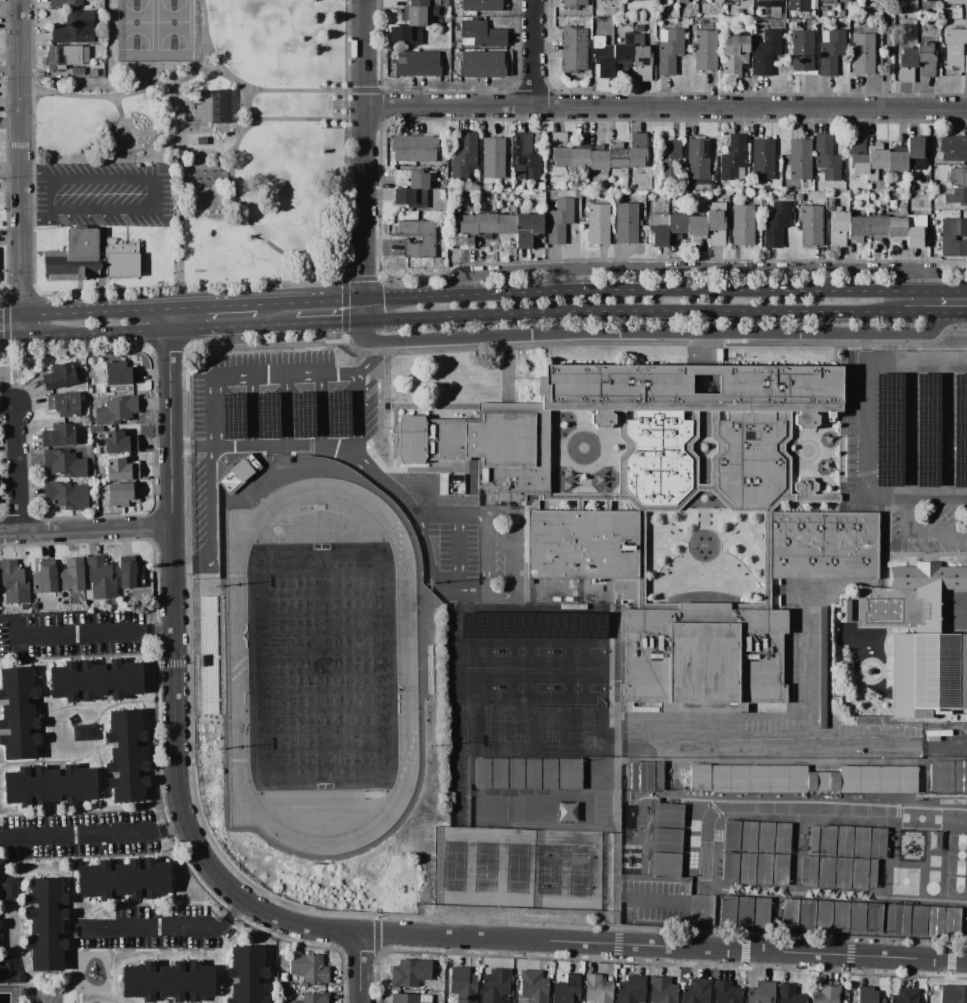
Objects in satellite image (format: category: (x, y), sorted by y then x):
building: (635, 0)
building: (737, 0)
building: (871, 0)
building: (899, 0)
building: (828, 1)
building: (844, 1)
building: (926, 1)
building: (682, 2)
building: (956, 2)
building: (65, 3)
building: (422, 3)
building: (444, 3)
building: (574, 3)
building: (812, 4)
building: (480, 5)
building: (798, 5)
building: (771, 6)
building: (739, 12)
building: (866, 15)
building: (417, 16)
building: (888, 21)
park: (135, 24)
park: (167, 24)
building: (736, 24)
building: (74, 29)
road: (205, 34)
building: (407, 34)
building: (482, 34)
building: (453, 44)
building: (956, 48)
building: (574, 49)
building: (669, 50)
building: (705, 50)
building: (802, 51)
building: (830, 51)
building: (623, 52)
building: (765, 53)
road: (532, 54)
building: (863, 55)
building: (452, 56)
building: (734, 56)
building: (877, 56)
building: (65, 57)
building: (641, 57)
building: (602, 58)
building: (926, 59)
building: (417, 64)
building: (907, 64)
building: (481, 65)
building: (76, 72)
building: (92, 73)
road: (308, 91)
road: (101, 95)
building: (219, 106)
road: (666, 109)
road: (309, 120)
park: (224, 127)
road: (242, 138)
building: (558, 139)
building: (638, 140)
building: (414, 148)
building: (953, 149)
building: (616, 156)
building: (858, 156)
building: (915, 156)
building: (463, 157)
building: (635, 157)
building: (493, 158)
building: (525, 158)
building: (578, 158)
building: (826, 158)
building: (697, 159)
building: (761, 159)
building: (800, 159)
building: (876, 159)
building: (896, 159)
road: (366, 160)
building: (597, 160)
building: (669, 160)
building: (733, 160)
building: (559, 161)
road: (22, 169)
building: (431, 176)
building: (711, 178)
building: (958, 178)
building: (411, 179)
building: (582, 186)
building: (720, 186)
building: (630, 187)
building: (576, 194)
parking lot: (103, 195)
road: (153, 195)
building: (957, 197)
building: (409, 198)
building: (617, 198)
building: (787, 198)
building: (798, 198)
building: (532, 199)
building: (830, 205)
building: (852, 205)
building: (717, 206)
building: (882, 206)
building: (901, 207)
building: (559, 221)
building: (676, 223)
building: (626, 224)
building: (774, 224)
building: (485, 225)
building: (597, 225)
building: (505, 226)
building: (742, 226)
building: (811, 226)
building: (696, 227)
building: (877, 227)
building: (715, 228)
building: (838, 228)
building: (857, 228)
building: (526, 229)
building: (658, 229)
building: (896, 229)
building: (466, 231)
building: (915, 231)
building: (953, 238)
building: (427, 240)
road: (266, 242)
building: (89, 259)
road: (688, 272)
road: (690, 288)
road: (953, 290)
road: (349, 299)
traffic signals: (362, 299)
road: (212, 307)
road: (957, 309)
road: (654, 311)
road: (83, 312)
traffic signals: (362, 320)
road: (327, 321)
road: (653, 330)
road: (158, 331)
road: (11, 338)
road: (954, 358)
building: (119, 373)
road: (304, 375)
building: (59, 376)
road: (189, 378)
building: (691, 400)
building: (64, 404)
road: (866, 407)
road: (316, 409)
road: (284, 410)
building: (116, 411)
road: (251, 411)
road: (208, 412)
road: (350, 416)
road: (905, 425)
road: (941, 425)
building: (95, 429)
building: (58, 435)
building: (119, 442)
parking lot: (908, 443)
building: (657, 457)
road: (355, 460)
building: (64, 463)
building: (754, 463)
road: (17, 468)
building: (120, 470)
building: (239, 473)
parking lot: (201, 480)
road: (936, 493)
building: (121, 494)
building: (66, 495)
road: (209, 497)
road: (85, 530)
road: (914, 534)
building: (816, 548)
road: (454, 549)
building: (590, 549)
road: (484, 557)
road: (517, 557)
road: (195, 562)
building: (129, 573)
building: (71, 576)
road: (430, 577)
building: (928, 577)
building: (44, 578)
building: (100, 578)
building: (13, 582)
road: (188, 593)
building: (33, 606)
building: (24, 607)
building: (844, 611)
road: (103, 635)
building: (701, 657)
track: (236, 662)
building: (822, 666)
building: (927, 667)
park: (320, 669)
building: (122, 679)
building: (90, 681)
building: (64, 682)
building: (16, 686)
building: (18, 718)
building: (124, 729)
building: (83, 732)
road: (797, 741)
building: (18, 745)
building: (126, 761)
building: (480, 773)
building: (497, 773)
building: (516, 774)
building: (530, 774)
building: (568, 774)
building: (656, 775)
building: (547, 776)
building: (640, 776)
building: (940, 776)
building: (959, 776)
building: (747, 778)
building: (876, 779)
building: (821, 781)
building: (77, 784)
building: (45, 786)
building: (18, 787)
building: (127, 787)
building: (565, 812)
building: (667, 815)
road: (94, 831)
building: (731, 836)
building: (748, 836)
building: (765, 837)
building: (782, 838)
building: (666, 840)
building: (813, 840)
building: (827, 840)
building: (844, 841)
building: (860, 842)
building: (877, 843)
building: (664, 864)
park: (452, 865)
park: (484, 866)
park: (516, 867)
park: (548, 868)
building: (730, 868)
building: (747, 868)
building: (763, 869)
park: (580, 870)
building: (780, 870)
building: (809, 871)
building: (826, 872)
building: (842, 873)
building: (872, 873)
building: (859, 874)
building: (153, 878)
building: (127, 879)
building: (95, 880)
building: (9, 889)
building: (45, 893)
parking lot: (653, 900)
road: (687, 900)
building: (727, 911)
building: (744, 912)
building: (761, 912)
building: (789, 914)
building: (806, 915)
building: (823, 916)
building: (840, 917)
building: (857, 917)
building: (873, 918)
building: (45, 920)
building: (897, 920)
building: (918, 920)
building: (934, 920)
building: (951, 921)
road: (298, 924)
road: (171, 928)
building: (45, 952)
building: (308, 968)
road: (368, 971)
building: (409, 973)
building: (246, 975)
building: (139, 982)
building: (171, 982)
building: (198, 982)
building: (462, 985)
building: (496, 986)
building: (532, 987)
building: (566, 989)
building: (597, 989)
building: (631, 990)
building: (661, 991)
building: (696, 991)
building: (726, 992)
building: (760, 992)
building: (789, 994)
building: (825, 994)
building: (953, 994)
building: (868, 996)
building: (904, 996)
building: (315, 998)
building: (410, 998)

